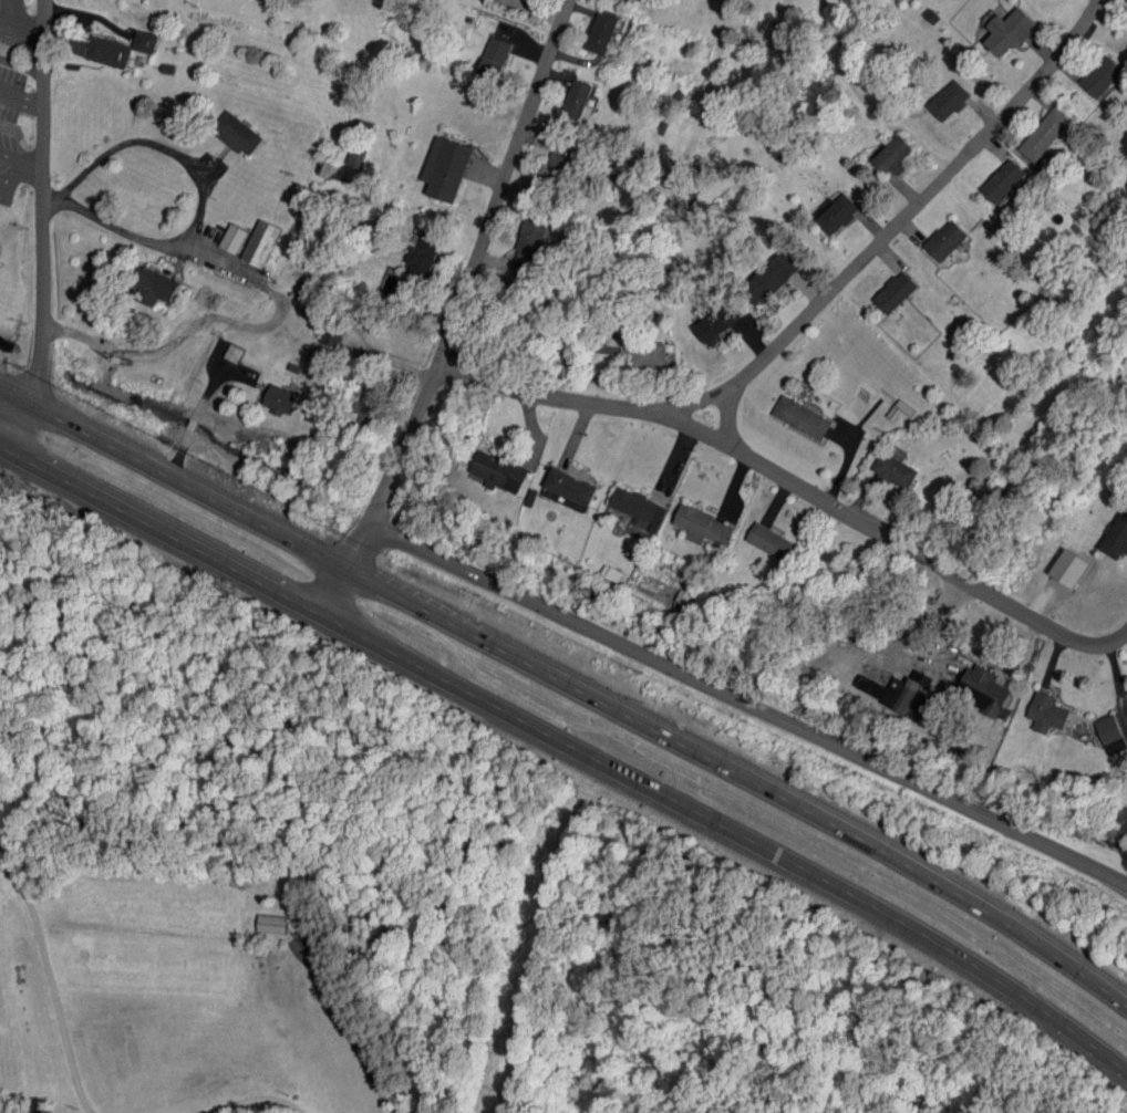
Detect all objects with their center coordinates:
road: (21, 21)
building: (602, 31)
building: (1009, 32)
building: (145, 41)
building: (102, 50)
building: (495, 59)
road: (21, 65)
building: (1102, 76)
road: (20, 95)
building: (577, 100)
building: (949, 101)
building: (238, 133)
building: (1045, 134)
building: (355, 155)
building: (895, 155)
building: (446, 168)
building: (555, 168)
road: (13, 169)
road: (28, 171)
building: (1003, 180)
road: (199, 198)
building: (835, 214)
road: (41, 229)
building: (234, 238)
building: (945, 240)
building: (260, 243)
building: (530, 243)
building: (424, 254)
road: (473, 264)
building: (769, 279)
building: (154, 287)
building: (896, 292)
road: (814, 308)
road: (214, 319)
building: (717, 321)
building: (649, 354)
building: (281, 401)
building: (373, 406)
building: (802, 417)
road: (726, 418)
building: (896, 470)
building: (498, 471)
road: (173, 481)
building: (569, 489)
building: (639, 507)
building: (703, 527)
road: (162, 533)
building: (1117, 538)
road: (889, 540)
building: (771, 542)
building: (1069, 568)
road: (348, 571)
road: (911, 623)
building: (983, 688)
building: (898, 695)
road: (747, 706)
building: (1047, 712)
building: (1110, 734)
road: (744, 773)
road: (733, 832)
building: (272, 924)
road: (49, 984)
road: (42, 1069)
road: (41, 1094)
road: (255, 1102)

